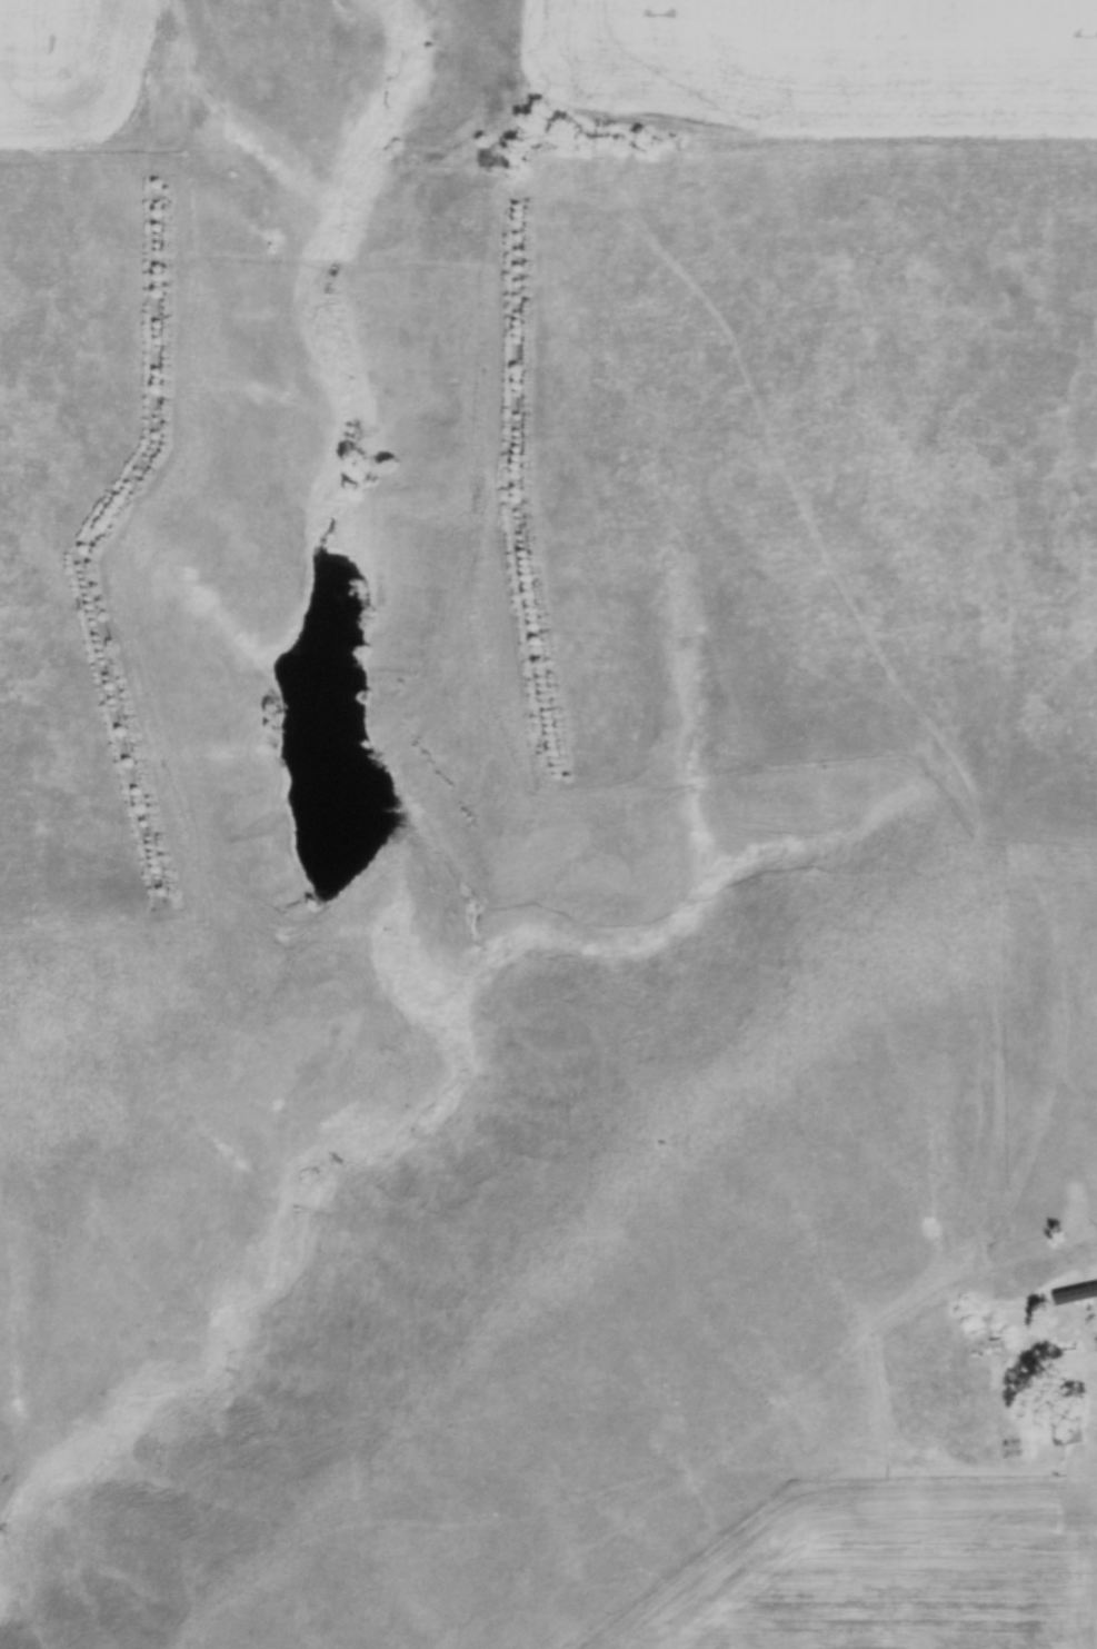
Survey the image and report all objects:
building: (1069, 1430)

